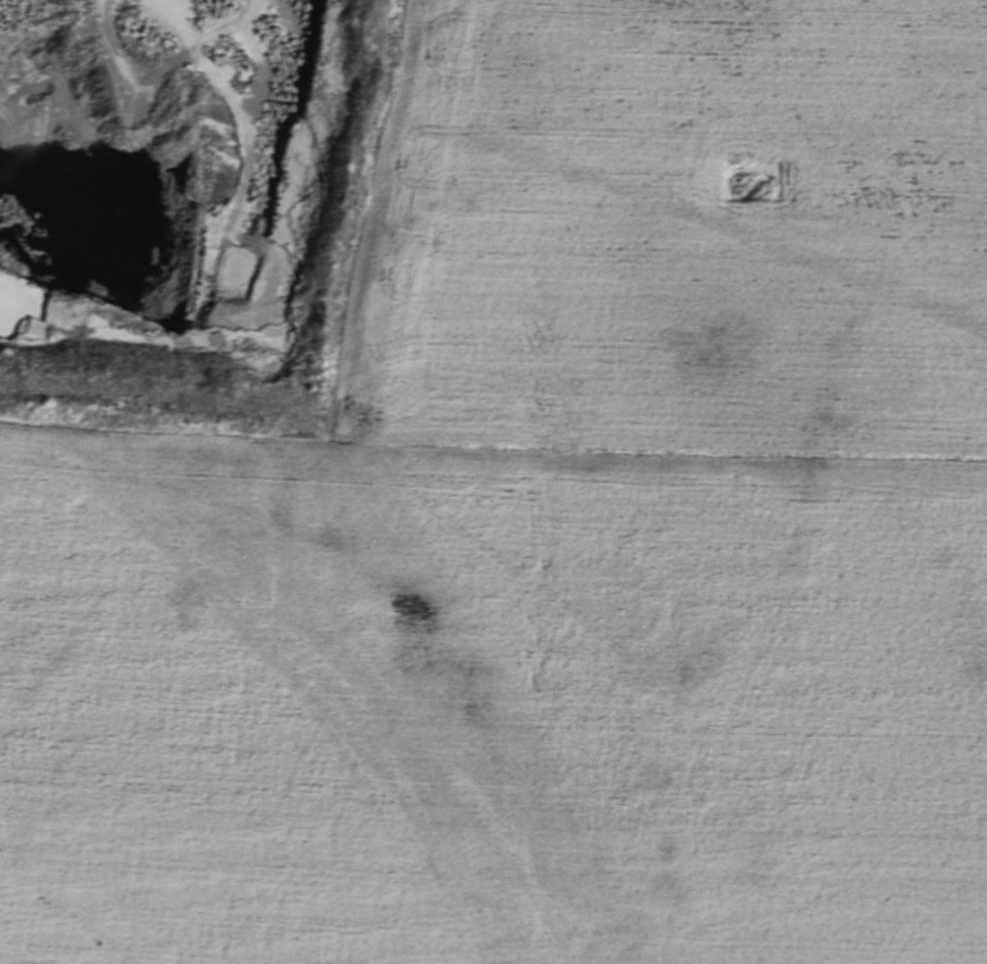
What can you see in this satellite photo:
quarry: (115, 219)

